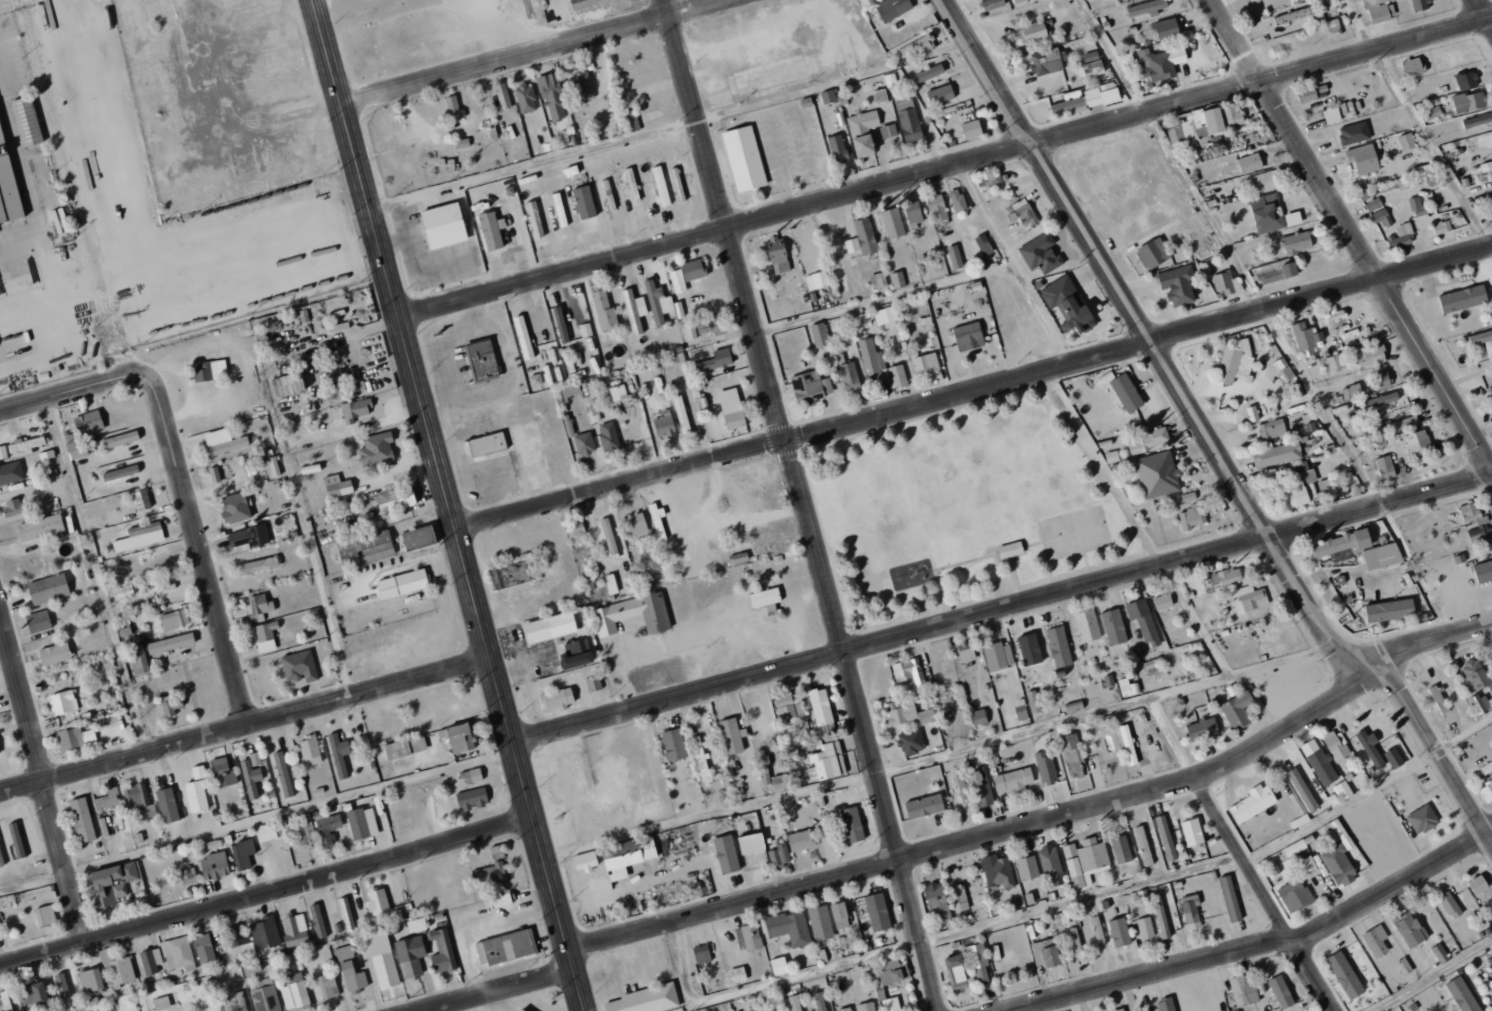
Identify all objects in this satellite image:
building: (1018, 1)
building: (586, 3)
building: (993, 4)
building: (1419, 5)
building: (893, 8)
building: (1146, 8)
building: (1379, 9)
road: (1485, 10)
building: (1292, 16)
road: (1356, 24)
building: (1167, 28)
building: (1034, 31)
building: (917, 46)
road: (538, 53)
building: (1091, 56)
building: (1127, 58)
building: (1045, 61)
building: (1161, 63)
building: (1413, 67)
building: (949, 69)
building: (1093, 69)
building: (930, 73)
building: (894, 78)
building: (1467, 80)
building: (582, 85)
building: (1106, 87)
building: (1310, 92)
building: (503, 94)
building: (940, 94)
building: (553, 96)
building: (828, 96)
building: (880, 96)
building: (526, 98)
building: (1094, 100)
building: (1469, 101)
building: (1068, 105)
building: (453, 108)
building: (883, 112)
building: (1430, 112)
building: (1332, 115)
building: (27, 121)
building: (630, 121)
building: (863, 121)
building: (909, 121)
building: (1206, 124)
building: (971, 129)
building: (888, 131)
building: (1354, 133)
building: (1406, 141)
building: (864, 146)
building: (837, 148)
building: (744, 159)
building: (1362, 160)
building: (1250, 163)
building: (1487, 165)
road: (946, 166)
building: (1431, 179)
building: (1262, 182)
building: (678, 184)
building: (993, 184)
building: (1406, 184)
building: (632, 185)
building: (660, 186)
building: (7, 187)
building: (958, 201)
building: (584, 202)
building: (1417, 207)
building: (937, 208)
building: (1375, 208)
building: (1024, 212)
building: (560, 213)
building: (913, 213)
building: (1270, 214)
building: (535, 219)
building: (890, 223)
building: (444, 226)
building: (1442, 228)
building: (492, 230)
road: (1352, 230)
building: (865, 236)
building: (1401, 236)
building: (1297, 243)
building: (983, 245)
building: (1152, 253)
building: (1040, 254)
building: (777, 255)
building: (955, 257)
building: (694, 269)
building: (1278, 273)
building: (678, 280)
building: (817, 280)
building: (878, 281)
building: (1225, 283)
building: (1177, 285)
building: (1463, 298)
building: (700, 301)
building: (658, 302)
building: (1067, 304)
building: (604, 310)
building: (634, 310)
road: (1265, 314)
building: (885, 315)
building: (560, 323)
building: (704, 326)
building: (585, 329)
building: (819, 334)
building: (1305, 335)
building: (523, 336)
building: (968, 336)
building: (1481, 338)
road: (1152, 341)
building: (1371, 355)
building: (481, 360)
building: (710, 360)
building: (872, 362)
building: (925, 363)
building: (1333, 363)
building: (1233, 365)
building: (1284, 369)
building: (206, 372)
building: (898, 376)
building: (850, 377)
building: (536, 379)
building: (1381, 380)
building: (288, 384)
building: (811, 387)
road: (975, 389)
building: (1490, 390)
building: (1350, 391)
building: (618, 392)
building: (1126, 392)
road: (63, 397)
building: (1381, 399)
building: (355, 410)
building: (1252, 413)
building: (682, 415)
building: (735, 420)
building: (664, 424)
building: (1398, 425)
building: (1272, 428)
building: (82, 433)
building: (608, 436)
building: (121, 439)
building: (1147, 440)
building: (223, 441)
building: (1418, 442)
building: (26, 443)
building: (491, 444)
building: (584, 444)
building: (377, 449)
building: (3, 452)
building: (1277, 454)
building: (1112, 456)
building: (1385, 467)
building: (120, 472)
building: (11, 473)
building: (1157, 474)
road: (446, 483)
building: (1326, 485)
building: (337, 486)
building: (1302, 488)
building: (1188, 496)
building: (141, 499)
building: (396, 499)
road: (802, 505)
park: (961, 506)
building: (236, 507)
building: (12, 508)
building: (1468, 511)
building: (1191, 516)
building: (636, 523)
building: (40, 527)
park: (1077, 531)
road: (945, 533)
building: (1478, 533)
building: (578, 534)
building: (140, 536)
building: (248, 536)
building: (418, 537)
building: (609, 538)
road: (197, 539)
building: (660, 542)
building: (1343, 543)
building: (365, 548)
building: (1011, 549)
building: (1382, 555)
road: (981, 557)
building: (259, 565)
building: (1483, 571)
road: (834, 572)
road: (1014, 574)
building: (504, 575)
road: (95, 576)
building: (1226, 577)
building: (403, 584)
building: (611, 584)
building: (48, 589)
building: (125, 591)
building: (1252, 597)
building: (766, 599)
building: (1163, 601)
building: (260, 606)
road: (1004, 610)
building: (1389, 610)
building: (632, 614)
building: (174, 619)
building: (38, 621)
building: (1144, 621)
building: (557, 625)
building: (1087, 625)
building: (1114, 627)
building: (266, 636)
building: (171, 643)
building: (1059, 646)
building: (1029, 649)
building: (966, 651)
building: (54, 653)
building: (576, 654)
building: (998, 656)
building: (138, 660)
building: (299, 666)
building: (908, 675)
building: (1474, 676)
building: (1109, 680)
building: (593, 684)
building: (1279, 684)
building: (1128, 687)
building: (557, 699)
building: (1438, 699)
building: (1034, 700)
building: (63, 702)
building: (1480, 703)
building: (172, 706)
building: (791, 708)
building: (1021, 709)
building: (1237, 709)
building: (821, 711)
building: (907, 714)
building: (978, 718)
road: (246, 722)
building: (1202, 729)
building: (731, 735)
building: (74, 738)
building: (460, 738)
building: (911, 742)
building: (674, 744)
building: (1128, 744)
building: (1336, 745)
building: (405, 747)
building: (1371, 747)
building: (310, 750)
road: (1433, 751)
building: (339, 754)
building: (1072, 756)
building: (1393, 757)
building: (700, 758)
building: (826, 762)
building: (1320, 762)
building: (1045, 766)
building: (1059, 771)
building: (199, 772)
building: (222, 772)
building: (252, 774)
building: (283, 774)
building: (473, 775)
road: (41, 780)
building: (1013, 780)
building: (780, 783)
building: (982, 787)
building: (1302, 789)
road: (1368, 789)
building: (1342, 790)
building: (1486, 791)
building: (196, 796)
building: (471, 798)
building: (108, 799)
building: (139, 799)
building: (1253, 803)
building: (167, 805)
building: (924, 806)
road: (709, 812)
building: (82, 819)
building: (1422, 819)
road: (259, 820)
road: (1046, 820)
building: (358, 823)
building: (796, 823)
building: (852, 824)
building: (328, 829)
building: (301, 830)
building: (1192, 831)
building: (266, 832)
building: (1166, 838)
building: (16, 840)
building: (800, 840)
building: (751, 843)
building: (1144, 845)
building: (1296, 847)
building: (1121, 849)
building: (496, 850)
building: (1379, 851)
building: (243, 854)
building: (726, 854)
building: (779, 855)
building: (627, 856)
building: (1338, 859)
building: (0, 860)
building: (585, 860)
building: (1088, 862)
building: (1051, 864)
building: (1308, 865)
building: (215, 866)
building: (1272, 867)
building: (1027, 868)
road: (1248, 869)
building: (997, 871)
building: (490, 874)
building: (188, 876)
building: (111, 884)
building: (1478, 884)
road: (268, 891)
building: (1295, 895)
building: (959, 897)
road: (1077, 897)
building: (1231, 898)
building: (1466, 899)
building: (502, 900)
building: (377, 901)
building: (938, 903)
building: (1450, 905)
building: (1191, 908)
building: (839, 911)
building: (878, 912)
building: (347, 913)
building: (45, 915)
building: (1161, 915)
building: (1061, 918)
building: (318, 921)
building: (820, 923)
building: (841, 924)
building: (789, 927)
building: (1145, 927)
building: (295, 929)
building: (1410, 929)
building: (1098, 931)
building: (266, 932)
building: (1120, 932)
building: (237, 935)
building: (748, 937)
building: (1376, 940)
building: (1076, 942)
building: (504, 947)
building: (204, 948)
road: (1261, 948)
building: (442, 951)
building: (178, 952)
building: (1046, 953)
building: (702, 954)
building: (1440, 954)
building: (410, 955)
building: (379, 956)
building: (105, 958)
building: (151, 961)
building: (978, 962)
building: (1490, 962)
building: (779, 966)
building: (121, 971)
building: (350, 971)
building: (890, 971)
building: (956, 973)
building: (737, 975)
building: (1345, 975)
road: (1428, 975)
building: (91, 980)
road: (766, 983)
building: (62, 985)
building: (328, 985)
building: (1487, 987)
road: (494, 989)
road: (579, 989)
building: (296, 991)
building: (1243, 991)
building: (1280, 992)
building: (34, 994)
building: (1462, 995)
building: (265, 996)
building: (646, 1000)
building: (241, 1001)
building: (821, 1001)
building: (791, 1003)
building: (1490, 1003)
building: (891, 1004)
building: (1166, 1005)
building: (766, 1006)
building: (867, 1006)
building: (845, 1009)
building: (520, 1010)
building: (1120, 1010)

